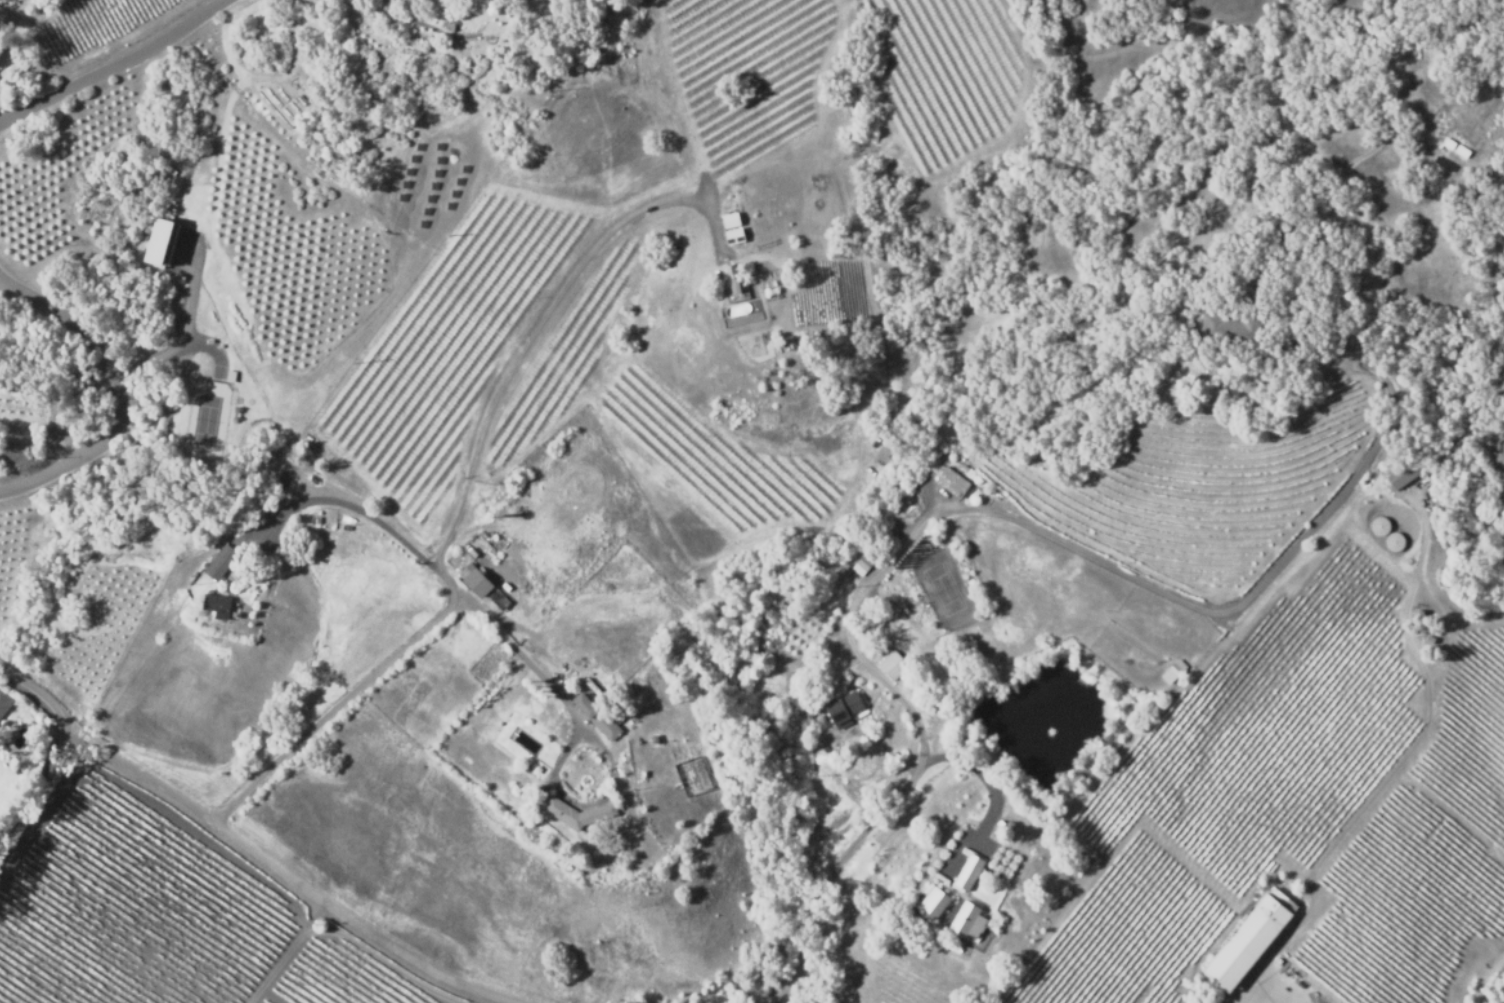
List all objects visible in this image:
road: (110, 64)
building: (733, 228)
building: (164, 244)
building: (732, 281)
building: (1230, 329)
road: (538, 332)
road: (111, 390)
building: (1399, 474)
building: (952, 482)
building: (1375, 524)
building: (1390, 540)
building: (220, 562)
building: (864, 563)
road: (435, 571)
building: (482, 586)
building: (216, 603)
road: (846, 633)
building: (967, 648)
building: (895, 665)
building: (1174, 671)
building: (4, 701)
building: (585, 705)
building: (843, 708)
road: (337, 710)
building: (869, 722)
building: (606, 725)
road: (986, 780)
road: (35, 782)
road: (46, 812)
building: (578, 813)
road: (246, 845)
building: (975, 872)
road: (827, 878)
building: (936, 904)
building: (973, 922)
building: (1250, 942)
road: (729, 998)

